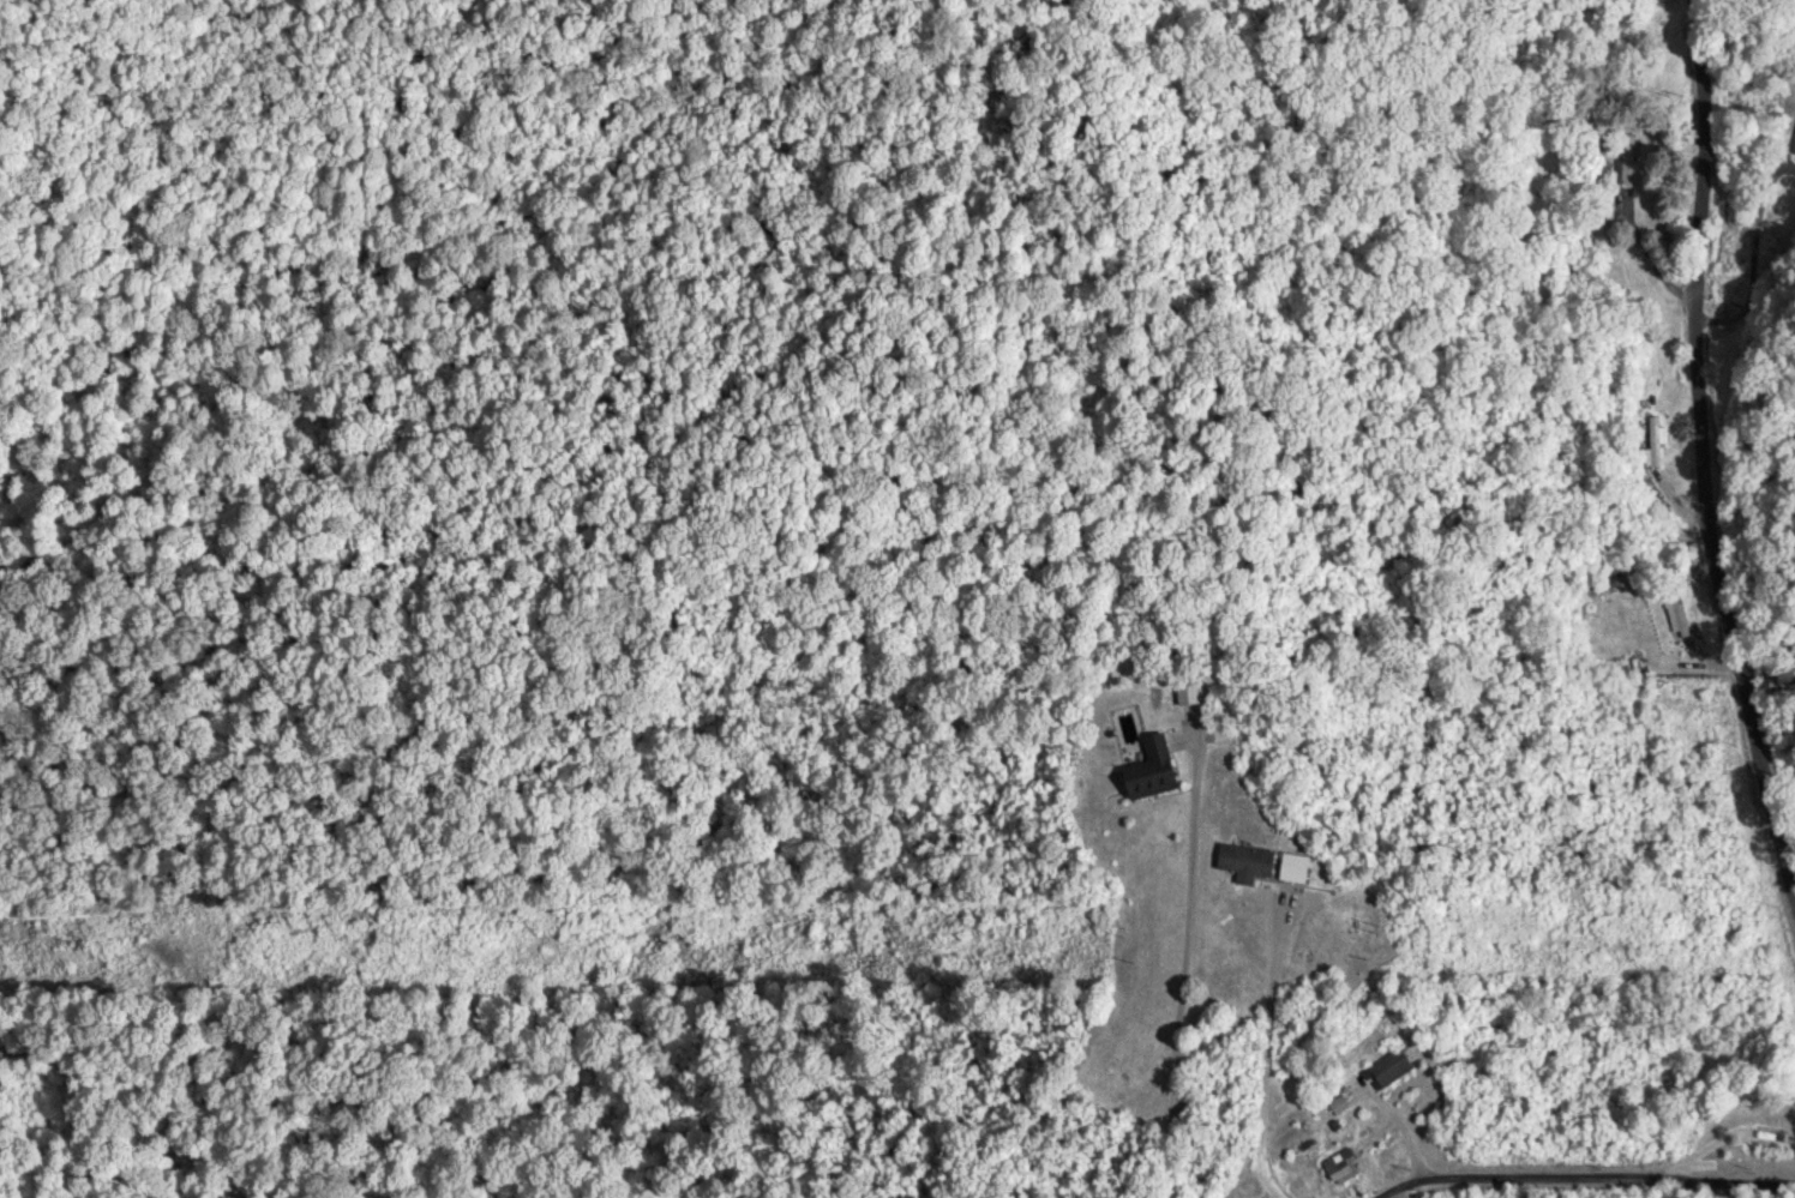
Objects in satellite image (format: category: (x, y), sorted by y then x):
building: (1793, 144)
building: (1625, 158)
building: (1653, 438)
road: (1709, 449)
building: (1145, 767)
building: (1239, 859)
building: (1286, 866)
building: (1383, 1066)
building: (1765, 1133)
building: (1335, 1166)
road: (1584, 1180)

